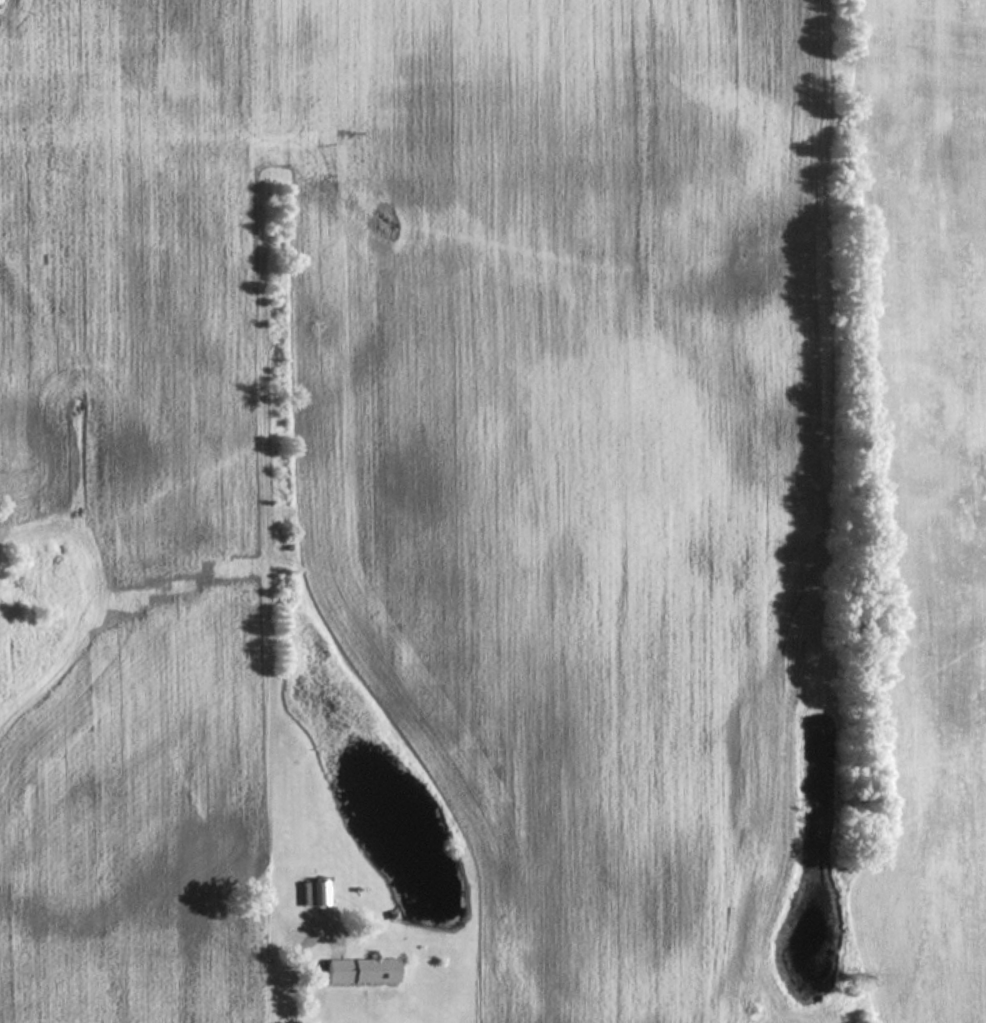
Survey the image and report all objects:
building: (315, 893)
building: (362, 970)

